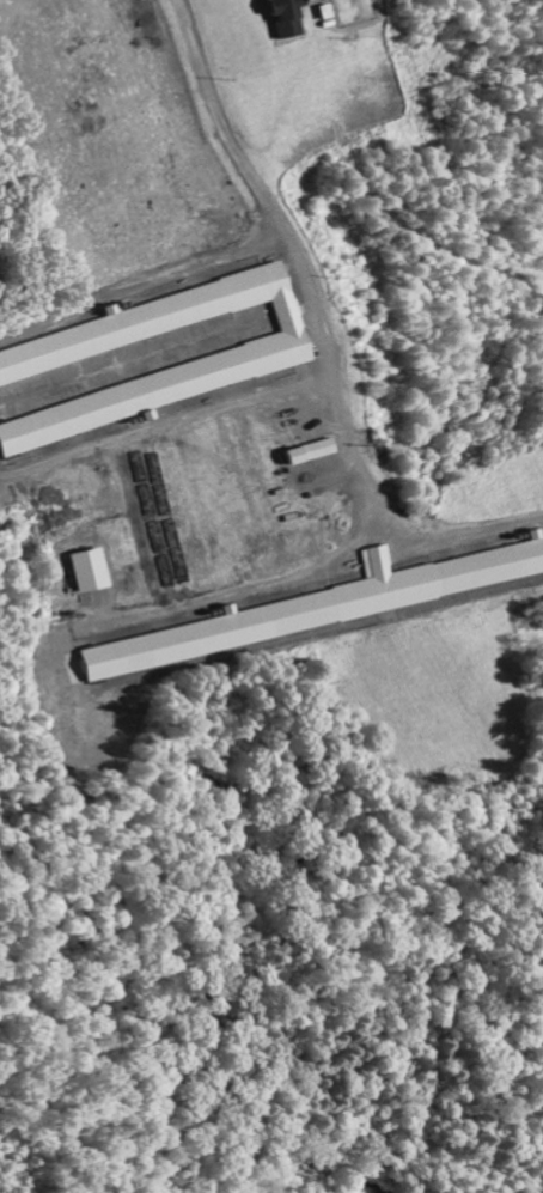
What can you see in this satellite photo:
road: (292, 267)
building: (43, 357)
building: (300, 454)
building: (83, 572)
building: (322, 607)

